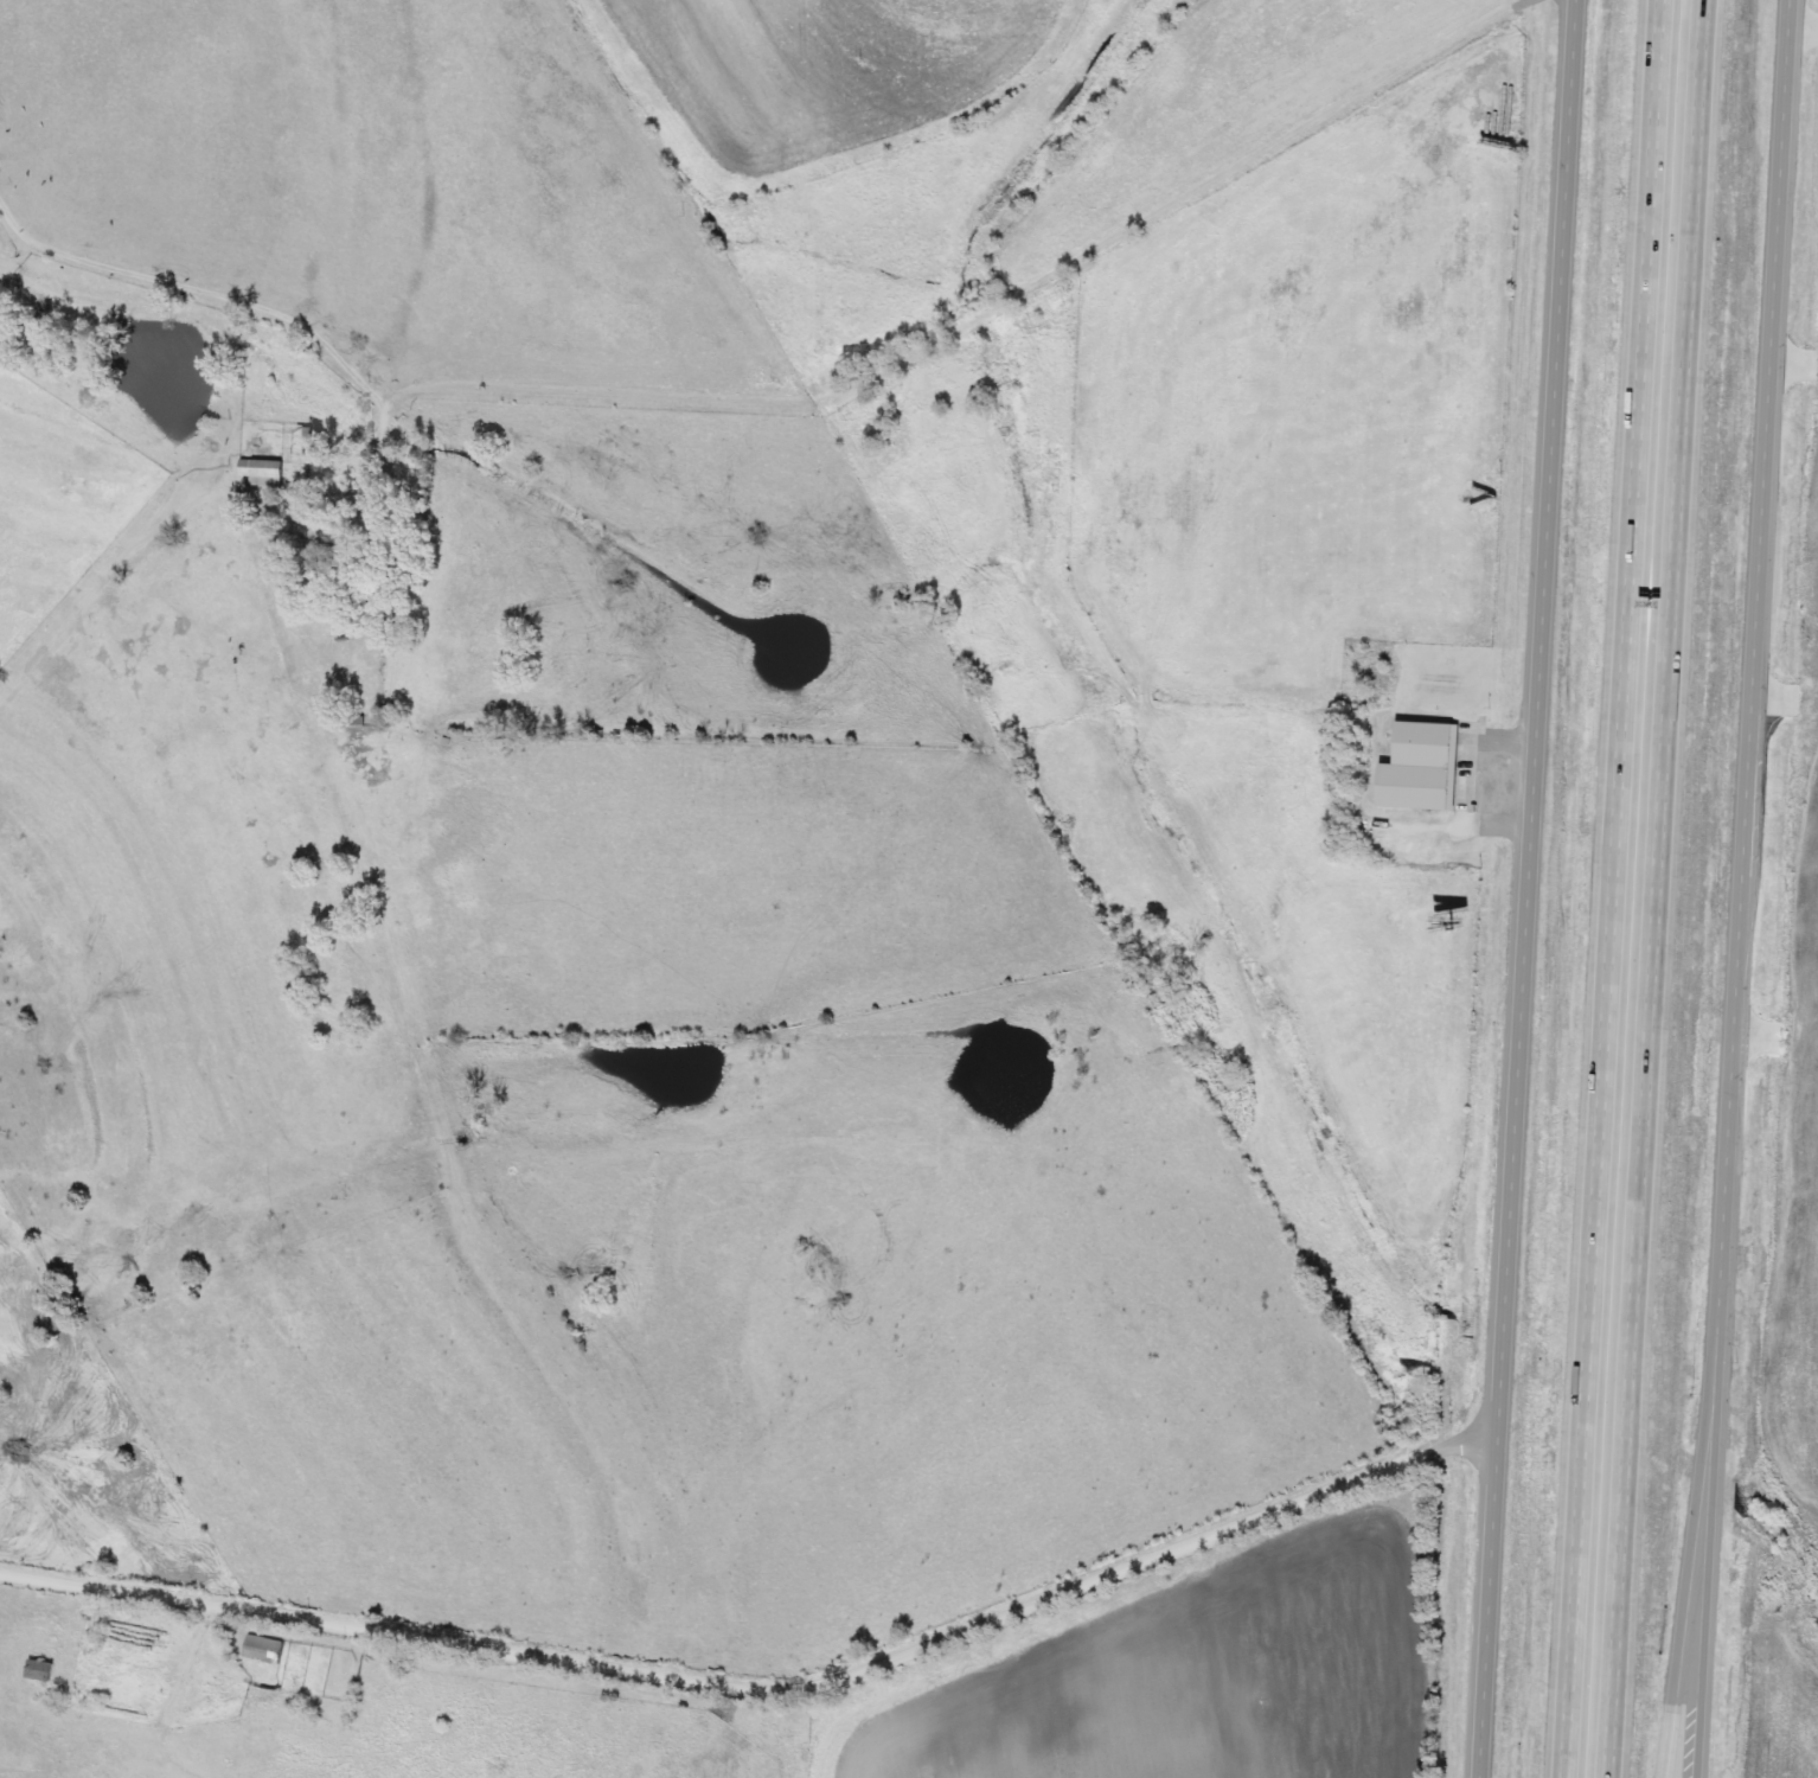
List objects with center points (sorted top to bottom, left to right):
road: (510, 108)
building: (262, 471)
building: (351, 567)
road: (1507, 736)
building: (1417, 766)
road: (1614, 888)
road: (1530, 889)
road: (1657, 889)
road: (1743, 889)
road: (1698, 1499)
building: (264, 1649)
building: (40, 1669)
road: (769, 1691)

